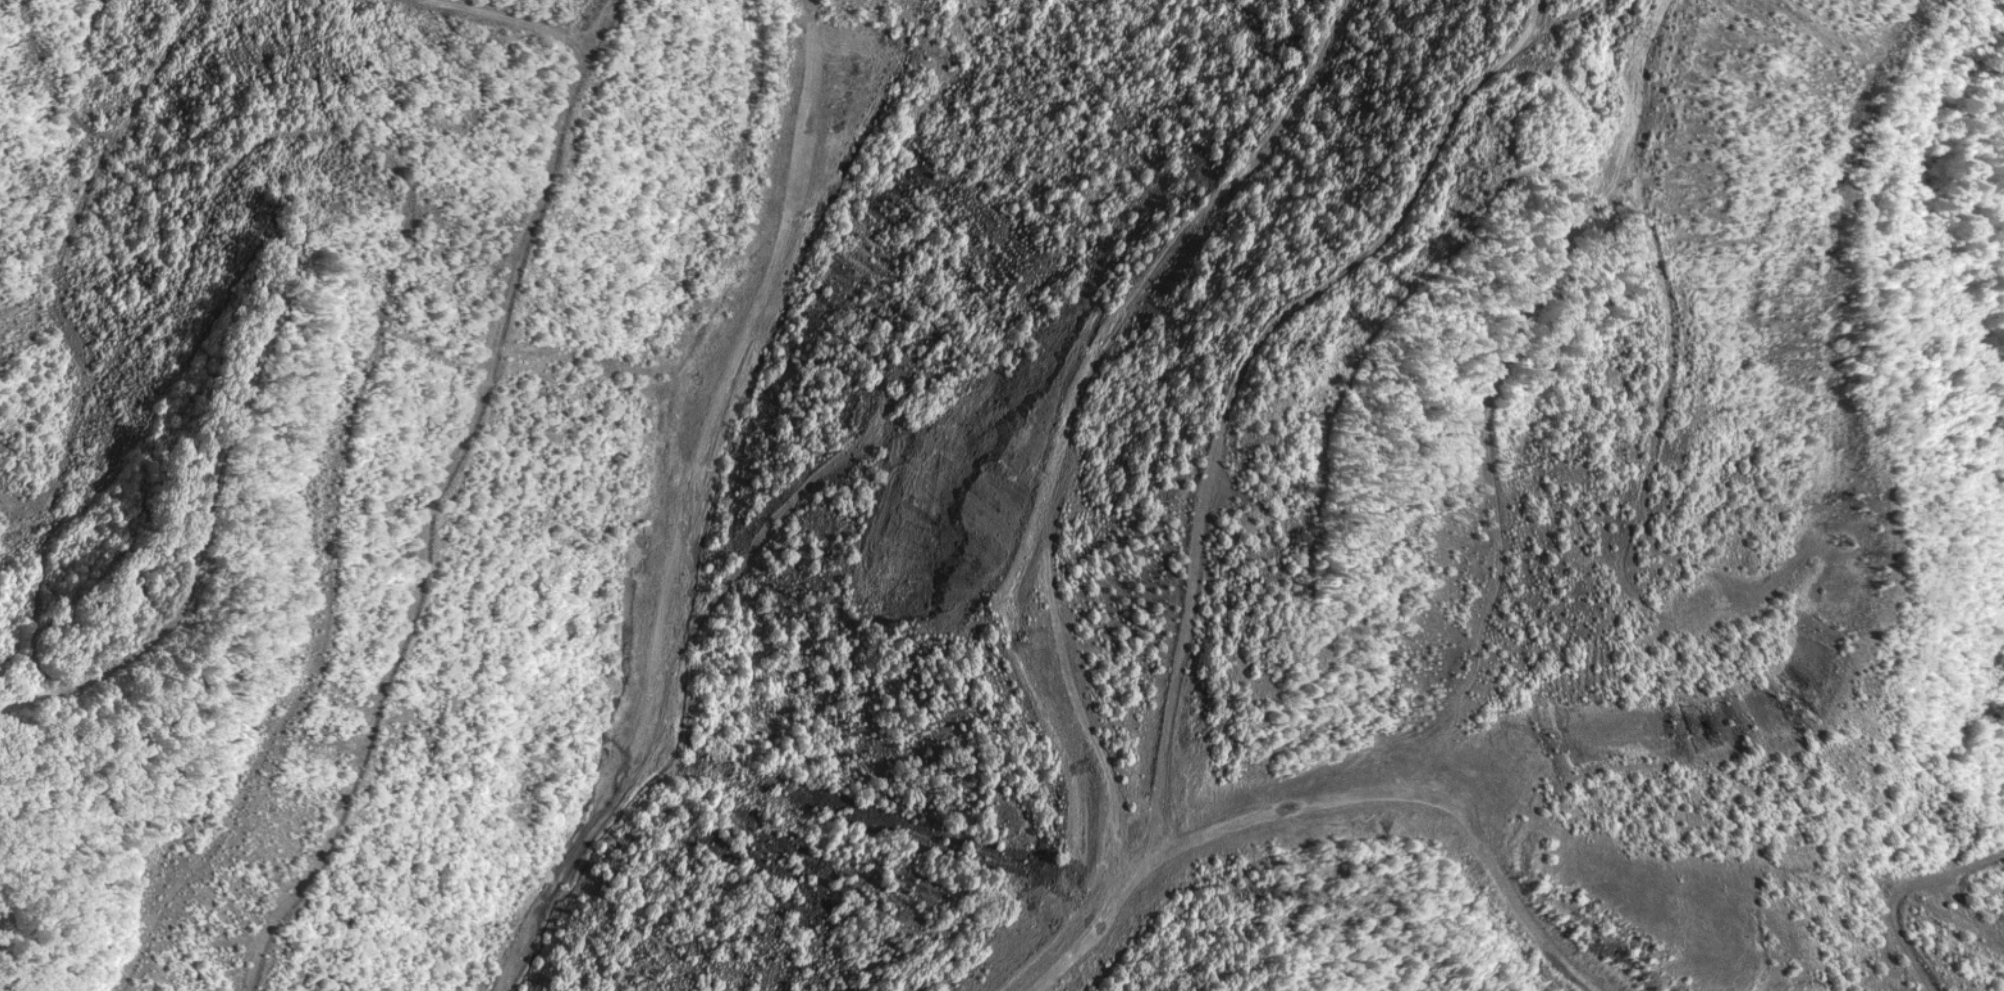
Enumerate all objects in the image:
quarry: (1002, 495)

